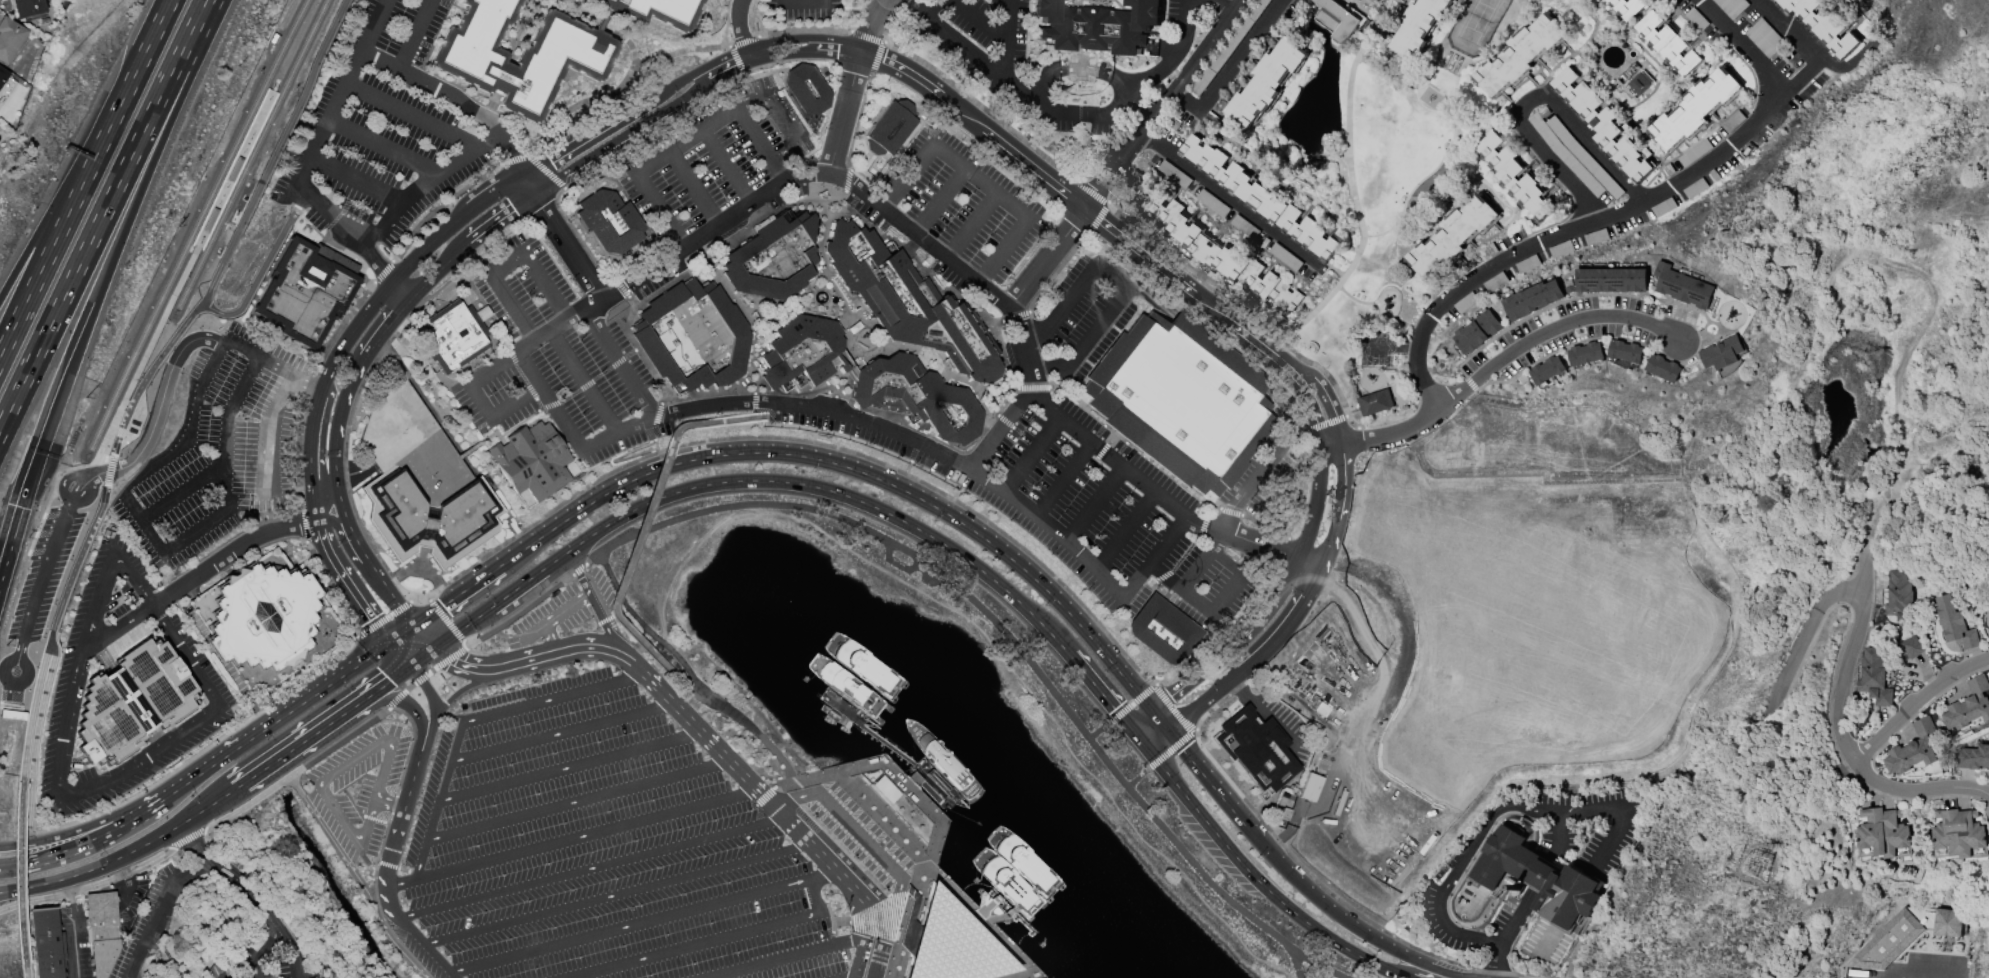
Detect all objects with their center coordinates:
road: (1225, 3)
road: (928, 5)
building: (1626, 7)
building: (30, 9)
building: (656, 11)
parking lot: (803, 14)
building: (1334, 18)
road: (982, 22)
building: (1096, 23)
building: (1823, 24)
road: (870, 25)
building: (1420, 26)
road: (739, 32)
road: (412, 35)
building: (9, 39)
road: (1006, 39)
building: (1668, 43)
road: (966, 48)
road: (144, 53)
road: (1173, 53)
building: (520, 54)
building: (1520, 54)
road: (1824, 54)
road: (1227, 65)
road: (767, 74)
building: (3, 76)
building: (1264, 80)
road: (1040, 82)
building: (1640, 82)
building: (806, 89)
road: (455, 100)
road: (1161, 105)
building: (1696, 109)
road: (786, 113)
road: (843, 113)
road: (414, 114)
road: (610, 121)
building: (1604, 125)
parking lot: (383, 127)
building: (890, 128)
road: (1575, 129)
road: (322, 130)
road: (617, 139)
road: (685, 141)
railway: (235, 144)
road: (760, 144)
road: (384, 147)
road: (153, 153)
parking lot: (713, 159)
railway: (248, 160)
road: (920, 161)
road: (1558, 166)
road: (726, 167)
road: (805, 174)
building: (1173, 175)
park: (1385, 176)
building: (1515, 176)
road: (607, 178)
road: (358, 179)
road: (847, 180)
road: (950, 182)
road: (429, 185)
road: (693, 189)
road: (1361, 194)
building: (1257, 197)
road: (58, 201)
road: (1233, 201)
road: (1013, 204)
road: (1613, 208)
road: (660, 211)
parking lot: (952, 211)
road: (1087, 212)
road: (102, 214)
building: (609, 221)
road: (59, 231)
road: (819, 231)
road: (239, 234)
building: (1453, 237)
building: (1206, 243)
railway: (201, 249)
building: (773, 257)
road: (1046, 259)
road: (379, 261)
road: (507, 262)
road: (1125, 278)
building: (1615, 279)
building: (1684, 286)
road: (400, 291)
building: (306, 292)
road: (593, 296)
building: (1531, 299)
road: (1360, 300)
building: (907, 302)
road: (828, 307)
road: (782, 313)
road: (745, 315)
road: (844, 316)
road: (394, 318)
parking lot: (1078, 320)
road: (1549, 326)
road: (157, 329)
building: (1475, 332)
building: (693, 336)
building: (453, 337)
road: (532, 344)
road: (878, 350)
building: (1628, 351)
parking lot: (563, 352)
building: (802, 353)
building: (1585, 353)
building: (1725, 353)
road: (393, 358)
park: (1896, 358)
road: (518, 368)
building: (1666, 368)
road: (289, 369)
building: (1545, 370)
building: (851, 372)
road: (148, 375)
road: (944, 379)
road: (64, 380)
road: (582, 383)
road: (838, 383)
road: (320, 390)
road: (1007, 393)
road: (1023, 396)
building: (916, 397)
building: (1180, 400)
road: (161, 401)
building: (1375, 402)
road: (500, 413)
road: (745, 418)
road: (338, 420)
road: (865, 425)
road: (322, 435)
road: (1286, 435)
road: (268, 437)
road: (1381, 437)
building: (412, 445)
parking lot: (412, 445)
road: (222, 451)
traffic signals: (38, 455)
road: (913, 455)
road: (1033, 455)
road: (174, 456)
parking lot: (206, 460)
building: (531, 461)
road: (108, 472)
road: (901, 480)
road: (1064, 480)
road: (885, 483)
road: (815, 487)
road: (182, 490)
road: (1163, 500)
parking lot: (1071, 502)
road: (1095, 506)
road: (98, 508)
road: (248, 508)
road: (17, 513)
road: (330, 517)
building: (430, 518)
road: (264, 521)
road: (606, 526)
road: (1126, 532)
railway: (59, 536)
road: (353, 536)
road: (525, 548)
road: (633, 549)
road: (1185, 553)
road: (578, 563)
road: (897, 564)
road: (194, 576)
road: (1289, 576)
road: (524, 583)
road: (347, 584)
road: (956, 588)
road: (1227, 591)
road: (388, 592)
road: (1308, 593)
road: (455, 596)
building: (1900, 596)
traffic signals: (442, 606)
road: (595, 608)
road: (611, 616)
road: (388, 617)
road: (555, 617)
parking lot: (549, 618)
road: (1034, 618)
traffic signals: (372, 620)
building: (264, 622)
road: (446, 622)
building: (1954, 624)
building: (1162, 631)
road: (401, 635)
road: (423, 638)
road: (549, 639)
road: (1801, 639)
road: (445, 641)
road: (615, 643)
building: (1912, 646)
road: (45, 650)
road: (569, 650)
road: (400, 655)
road: (422, 658)
road: (449, 658)
traffic signals: (455, 663)
road: (633, 665)
road: (468, 667)
parking lot: (199, 668)
road: (432, 670)
road: (689, 674)
road: (421, 678)
building: (1875, 678)
traffic signals: (390, 682)
road: (387, 683)
road: (410, 687)
road: (465, 688)
road: (1100, 693)
road: (696, 694)
traffic signals: (1169, 697)
road: (307, 700)
road: (396, 700)
road: (1915, 701)
building: (133, 702)
road: (431, 703)
road: (406, 704)
building: (1969, 705)
traffic signals: (1114, 710)
road: (1173, 712)
road: (1270, 713)
road: (1364, 718)
road: (472, 720)
road: (1140, 720)
road: (1838, 728)
road: (1099, 731)
road: (563, 732)
road: (699, 732)
road: (875, 737)
road: (1138, 739)
road: (37, 740)
road: (300, 743)
building: (1255, 749)
building: (1913, 749)
traffic signals: (1182, 750)
pier: (899, 756)
building: (1973, 757)
road: (571, 767)
road: (842, 772)
road: (921, 776)
road: (114, 777)
road: (1136, 778)
road: (193, 779)
road: (352, 782)
road: (907, 785)
parking lot: (359, 789)
road: (765, 796)
road: (374, 797)
road: (933, 798)
road: (578, 800)
road: (388, 803)
road: (208, 806)
road: (403, 808)
road: (1498, 808)
road: (363, 817)
road: (937, 823)
road: (93, 825)
road: (891, 825)
road: (202, 830)
road: (858, 834)
building: (1882, 834)
road: (1561, 835)
building: (1958, 835)
parking lot: (861, 837)
road: (803, 838)
road: (570, 839)
road: (84, 843)
road: (11, 845)
parking lot: (601, 850)
road: (1274, 860)
road: (107, 863)
road: (380, 863)
power tower: (1758, 867)
road: (224, 869)
road: (588, 869)
road: (1542, 873)
road: (357, 877)
building: (1541, 877)
road: (17, 878)
building: (1005, 883)
road: (1263, 887)
chimney: (1519, 887)
road: (14, 889)
pier: (933, 890)
road: (14, 892)
road: (616, 895)
road: (386, 897)
road: (861, 898)
road: (958, 899)
pier: (992, 909)
road: (984, 910)
road: (160, 915)
road: (997, 918)
road: (831, 920)
road: (875, 921)
road: (641, 922)
road: (841, 922)
building: (1947, 922)
road: (912, 924)
road: (74, 927)
road: (903, 928)
road: (870, 929)
road: (1508, 929)
road: (879, 931)
building: (102, 932)
road: (910, 939)
road: (711, 941)
building: (1888, 942)
building: (44, 943)
building: (951, 944)
road: (285, 946)
building: (24, 947)
road: (426, 947)
road: (254, 948)
road: (948, 950)
road: (1010, 951)
road: (786, 957)
road: (856, 957)
road: (875, 960)
road: (950, 964)
road: (1294, 964)
road: (1925, 972)
road: (849, 976)
building: (238, 977)

